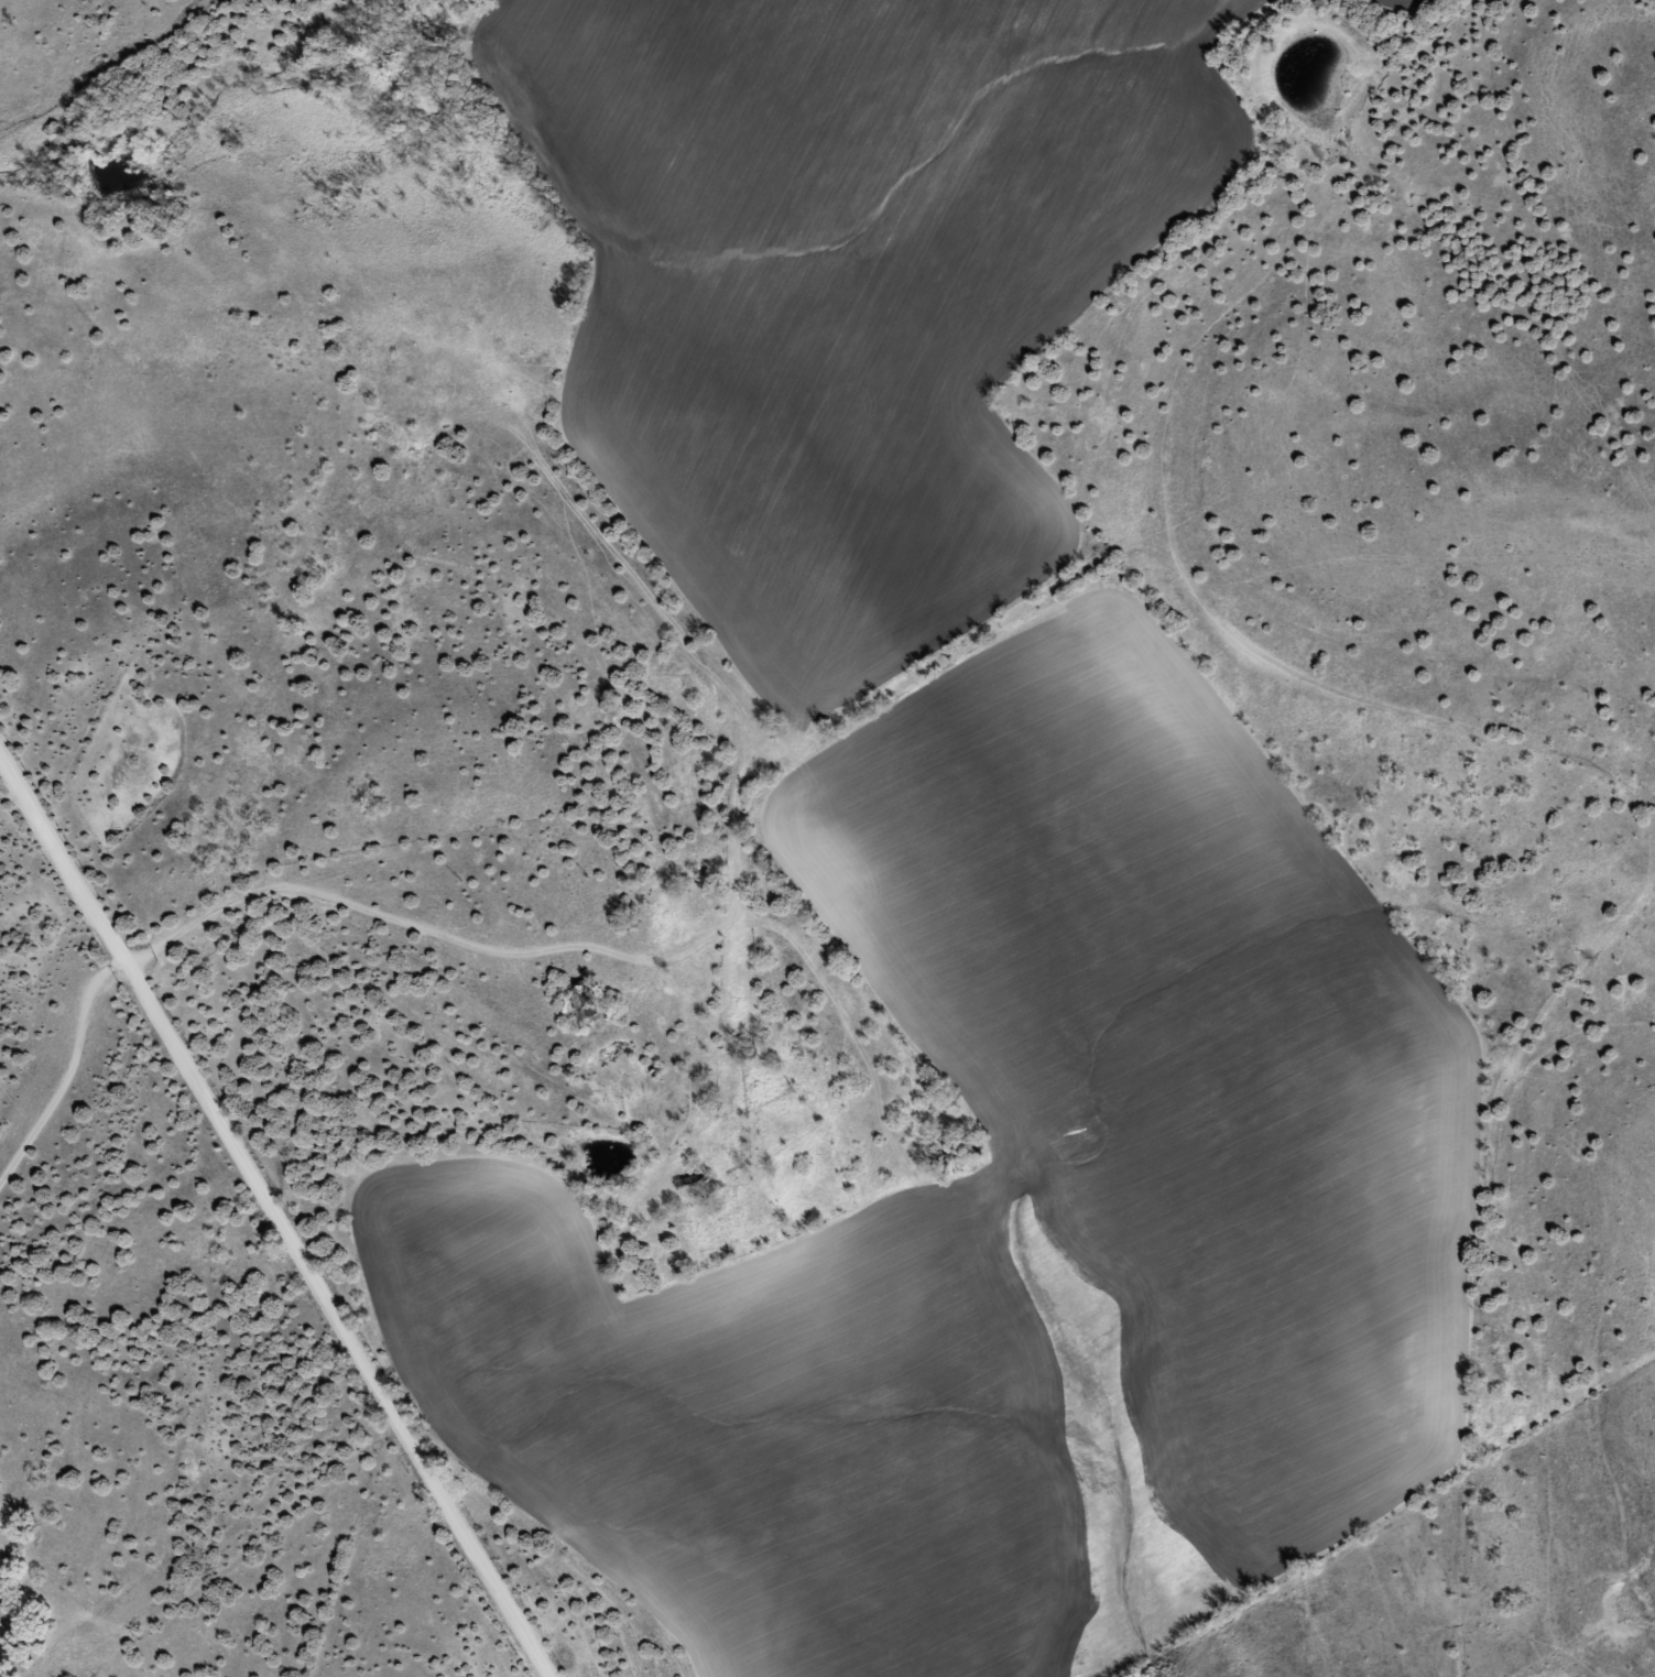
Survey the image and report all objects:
building: (697, 1186)
road: (270, 1224)

